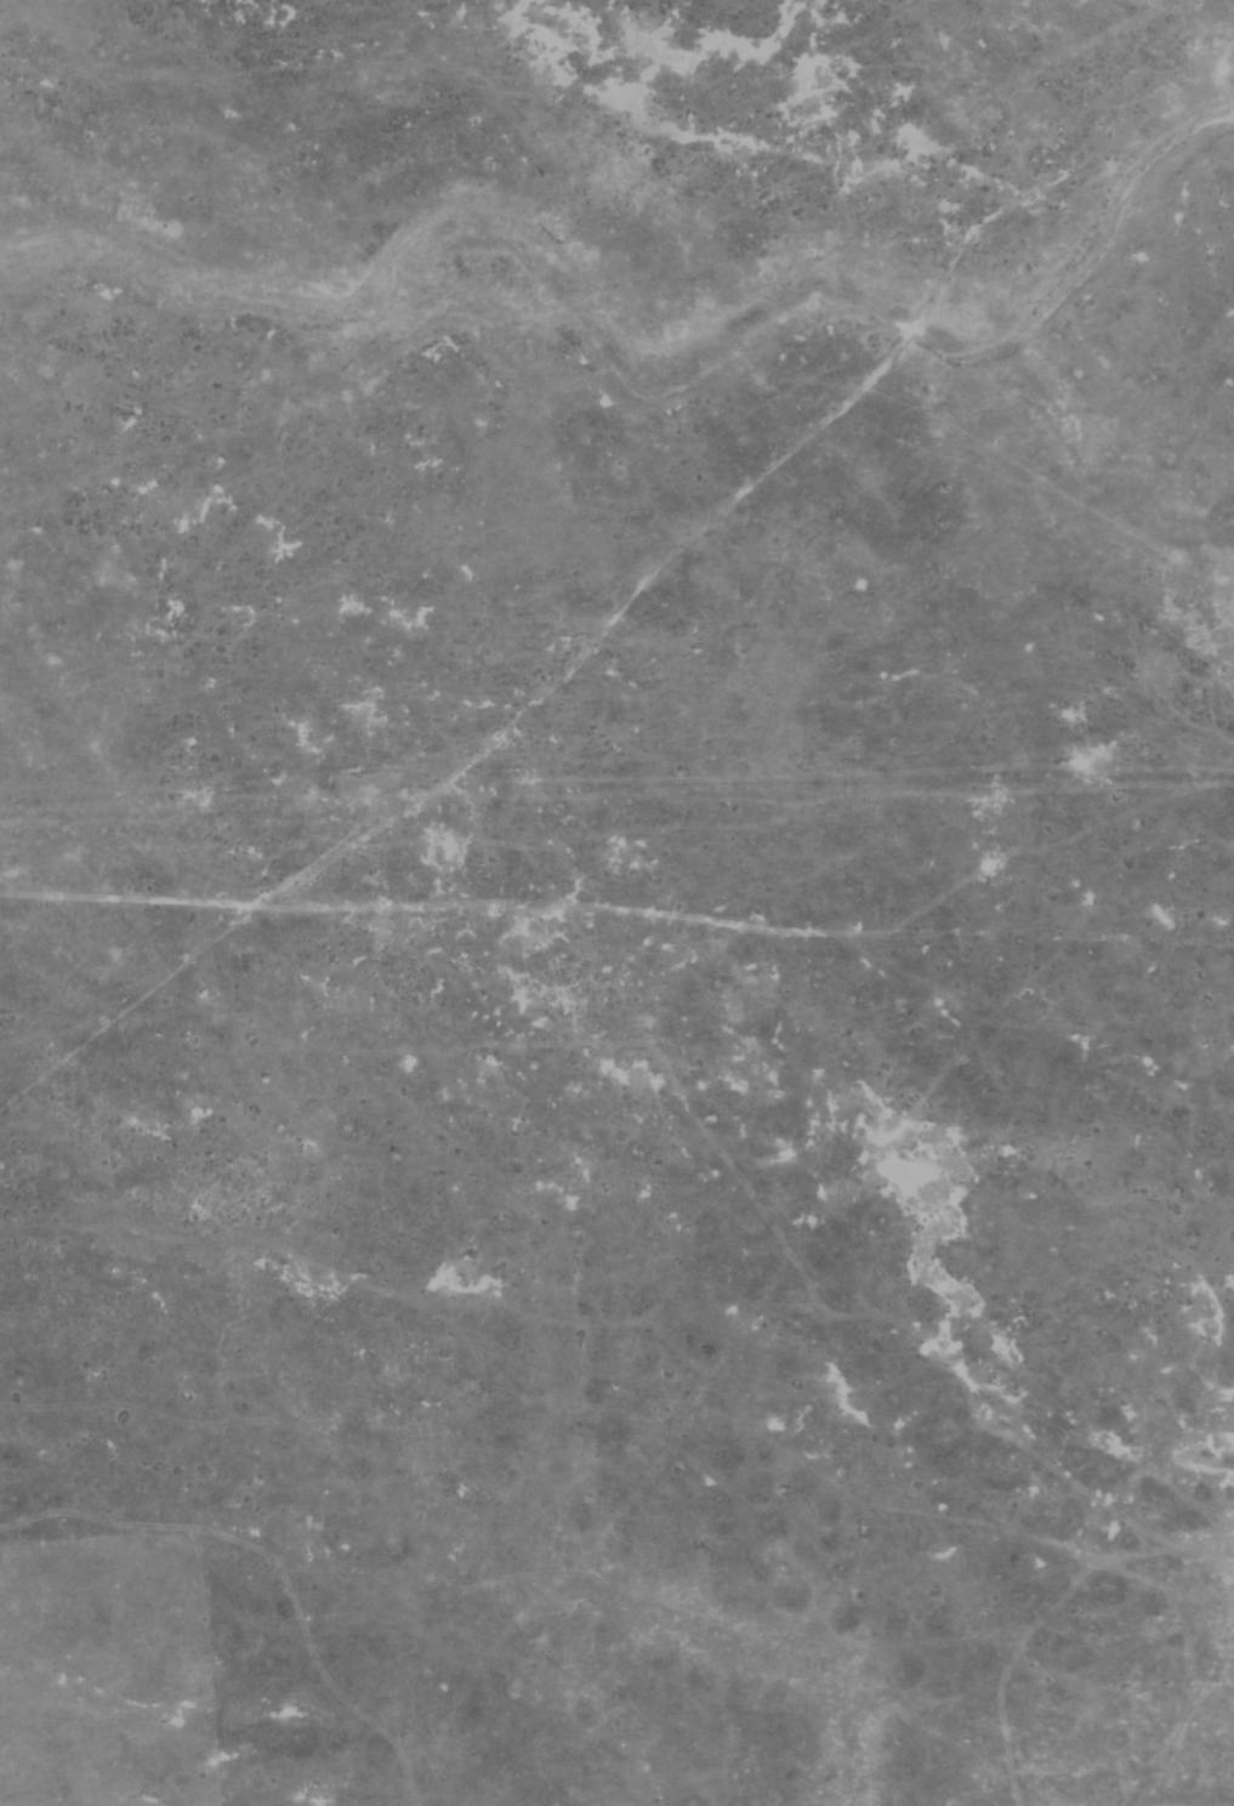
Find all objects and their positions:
road: (642, 624)

